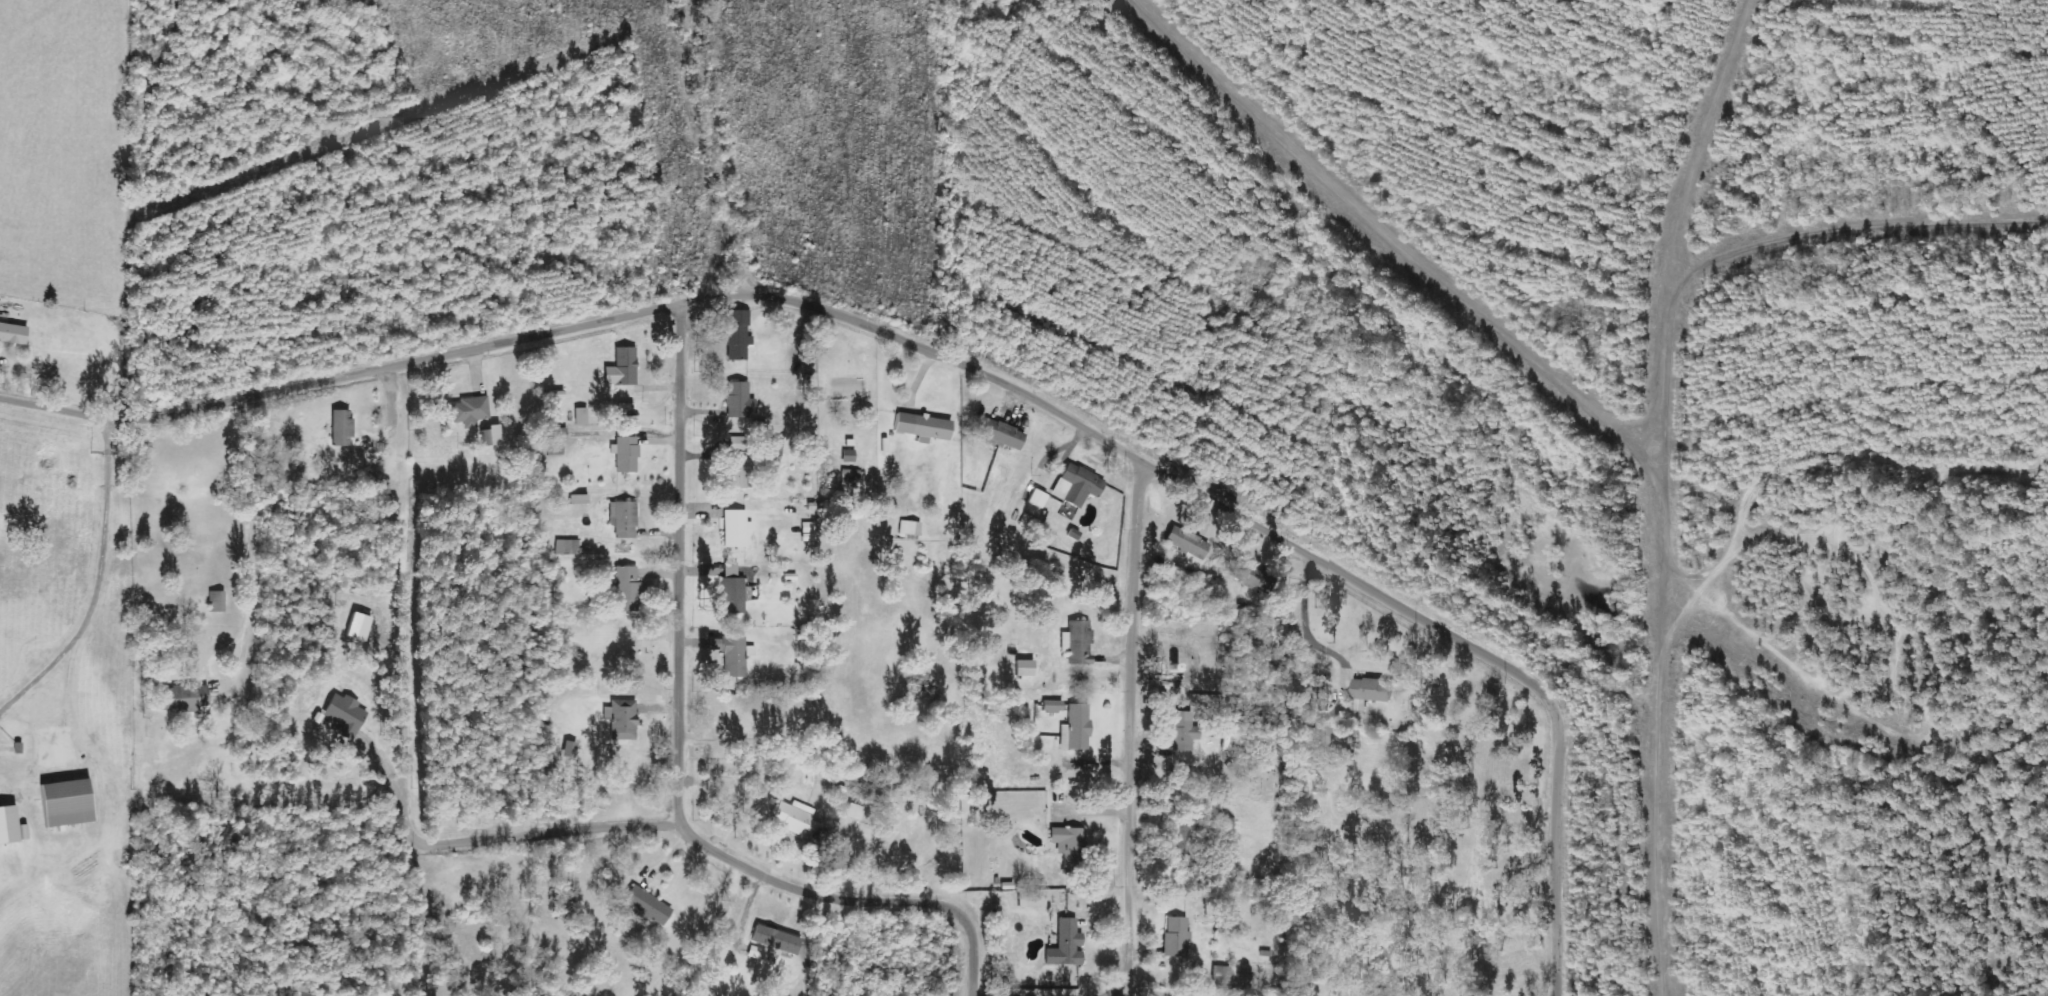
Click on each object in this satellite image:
building: (13, 334)
building: (738, 334)
road: (421, 359)
building: (623, 368)
building: (739, 400)
building: (470, 411)
building: (581, 416)
building: (923, 427)
building: (341, 428)
building: (556, 435)
building: (1002, 435)
building: (490, 436)
building: (773, 445)
building: (555, 450)
building: (625, 454)
building: (273, 461)
building: (738, 464)
building: (1077, 485)
building: (1037, 498)
building: (623, 519)
building: (736, 528)
building: (910, 528)
building: (808, 532)
building: (1187, 542)
building: (569, 547)
road: (1335, 567)
building: (1251, 576)
road: (100, 584)
building: (627, 589)
building: (733, 590)
building: (216, 601)
building: (358, 626)
building: (1078, 642)
road: (685, 654)
building: (735, 657)
building: (1025, 668)
building: (1371, 692)
building: (182, 699)
road: (65, 700)
building: (1053, 706)
building: (344, 715)
building: (624, 720)
building: (1076, 728)
building: (1184, 730)
road: (1128, 732)
building: (1338, 741)
building: (569, 749)
building: (66, 803)
building: (854, 812)
building: (796, 819)
building: (8, 825)
building: (1181, 838)
building: (1069, 846)
building: (1030, 899)
road: (949, 905)
building: (647, 906)
building: (1176, 937)
building: (776, 940)
building: (1066, 945)
building: (1222, 975)
building: (302, 990)

